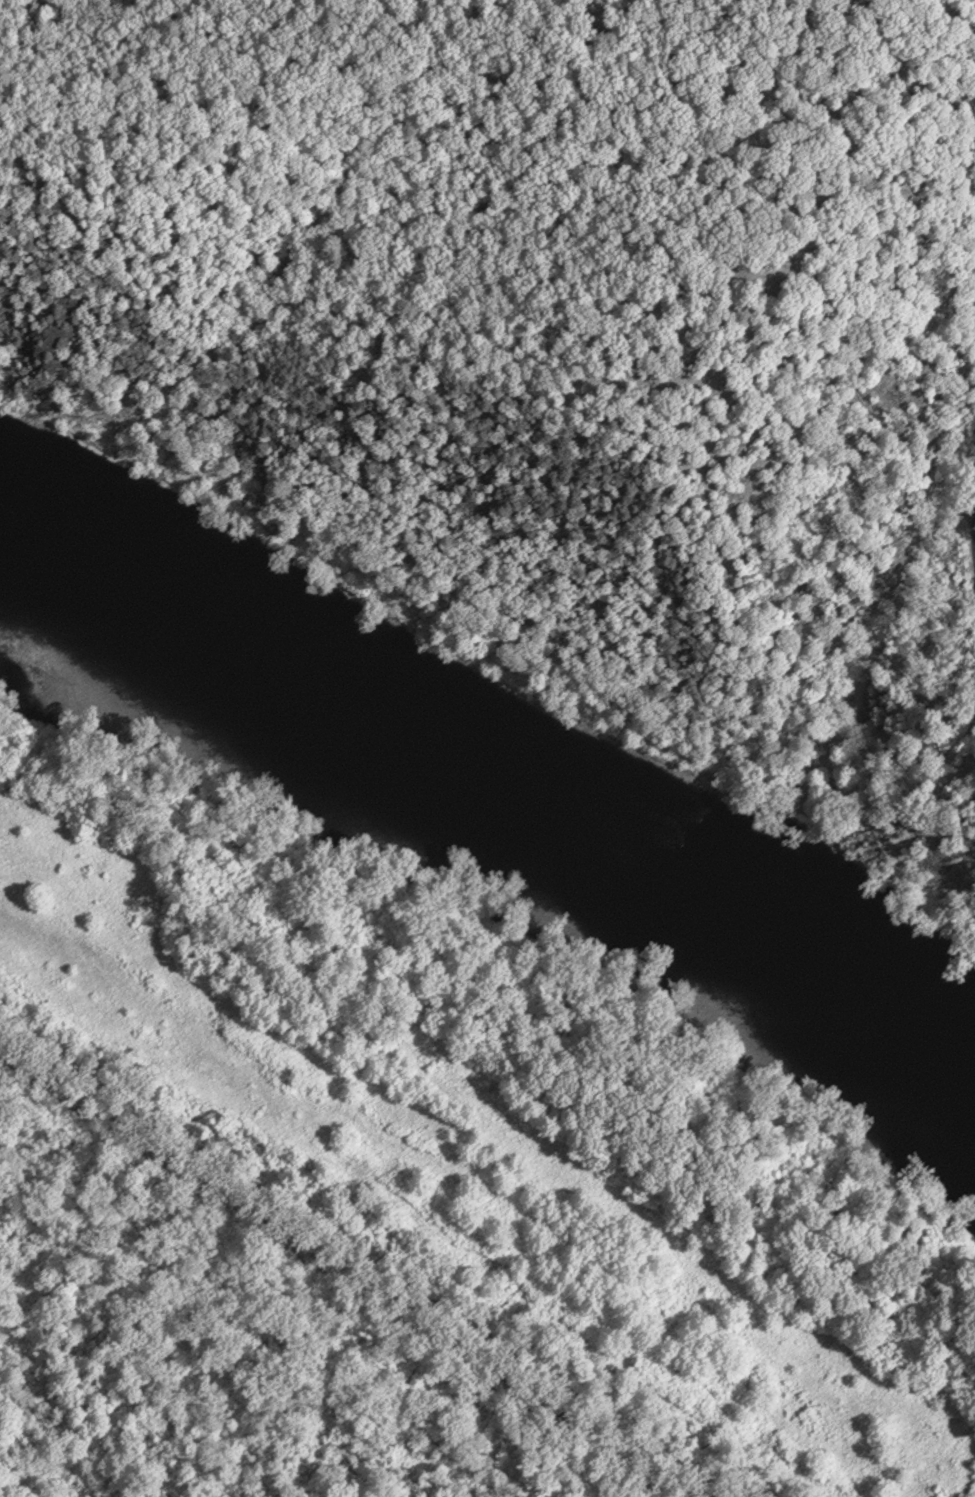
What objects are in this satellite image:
road: (973, 527)
river: (503, 791)
road: (366, 1260)

